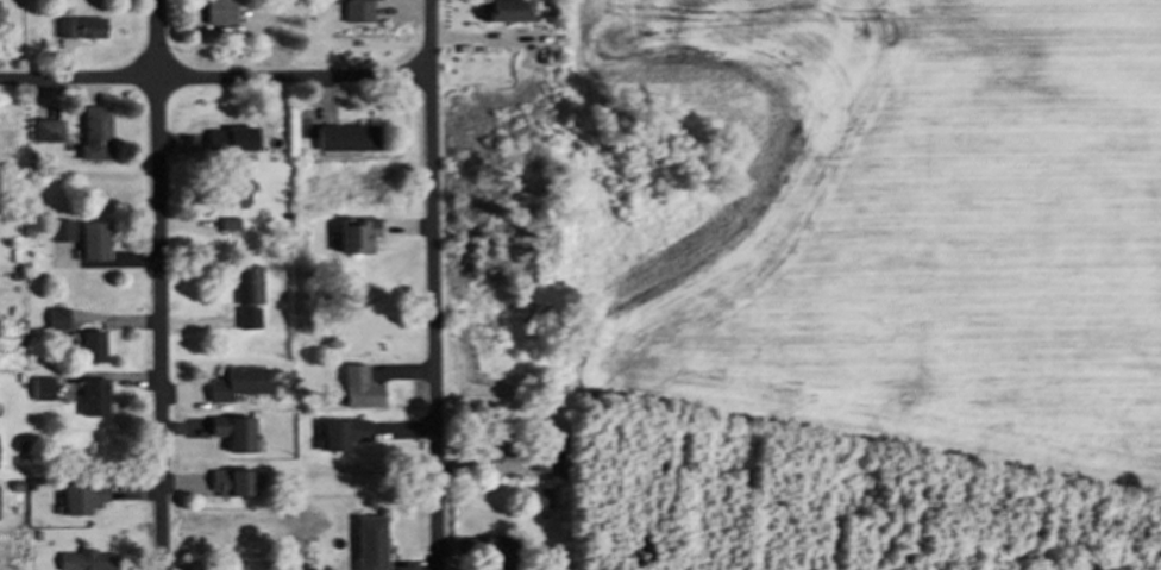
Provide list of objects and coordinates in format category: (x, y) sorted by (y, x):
building: (504, 8)
building: (218, 11)
building: (359, 11)
building: (80, 26)
road: (213, 77)
building: (45, 129)
building: (93, 132)
building: (230, 137)
building: (344, 137)
building: (29, 162)
building: (231, 183)
building: (226, 223)
crop: (876, 223)
building: (58, 228)
building: (360, 230)
building: (90, 239)
building: (11, 255)
building: (12, 275)
road: (158, 284)
road: (431, 284)
building: (246, 294)
building: (55, 317)
building: (357, 332)
building: (89, 345)
building: (42, 359)
building: (234, 382)
building: (40, 387)
building: (357, 387)
building: (95, 393)
building: (234, 430)
building: (339, 432)
building: (494, 446)
building: (540, 457)
building: (234, 478)
building: (86, 493)
building: (538, 496)
building: (36, 533)
building: (369, 541)
building: (490, 550)
building: (86, 559)

